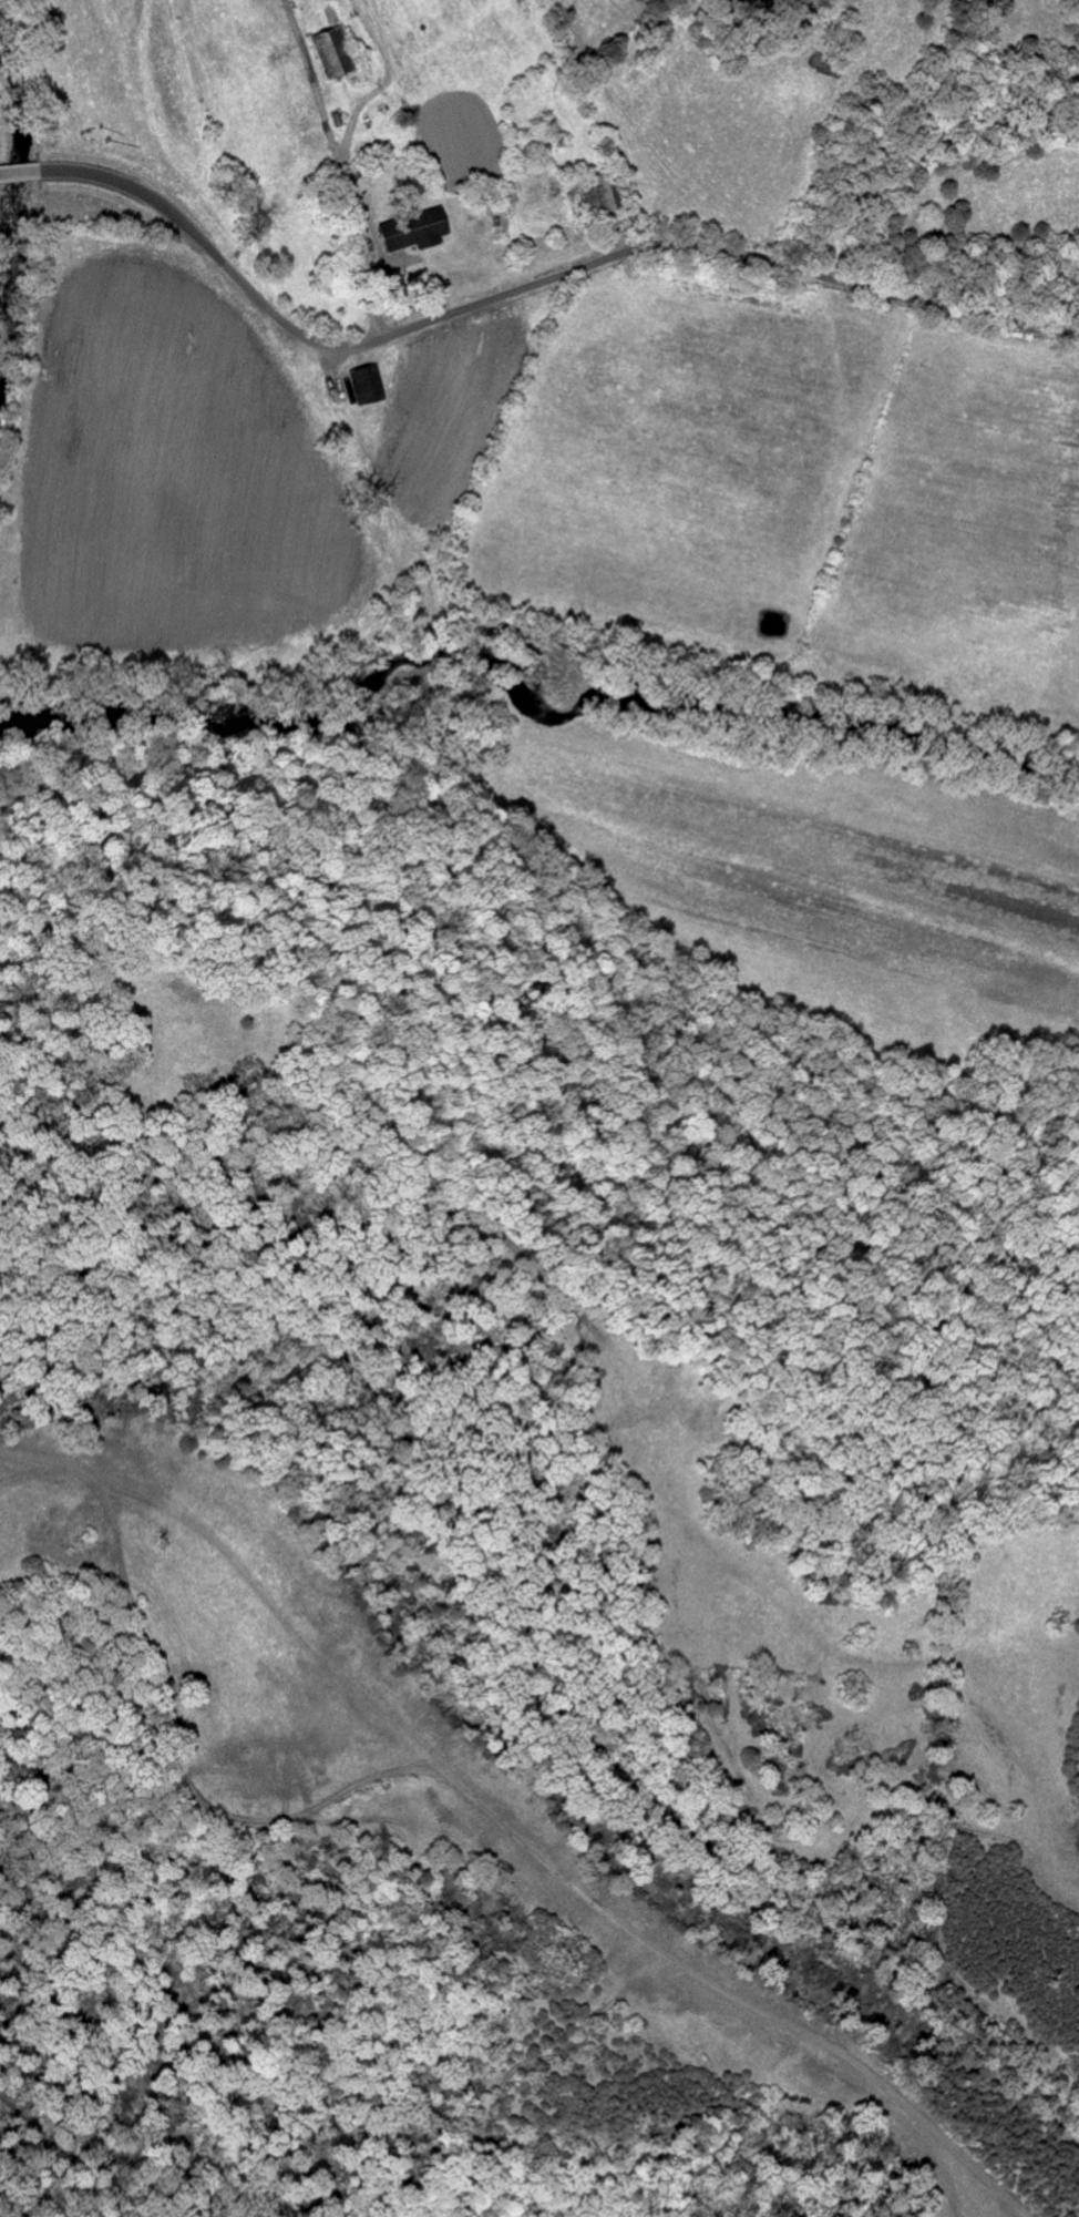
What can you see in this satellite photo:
building: (328, 51)
road: (21, 173)
building: (411, 231)
road: (533, 287)
building: (366, 384)

